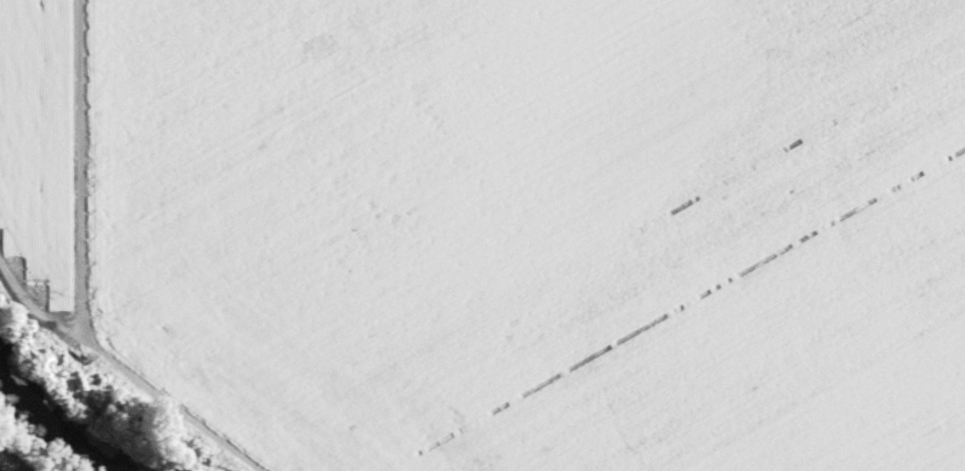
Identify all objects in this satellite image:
road: (75, 169)
road: (118, 374)
river: (58, 407)
road: (10, 460)

